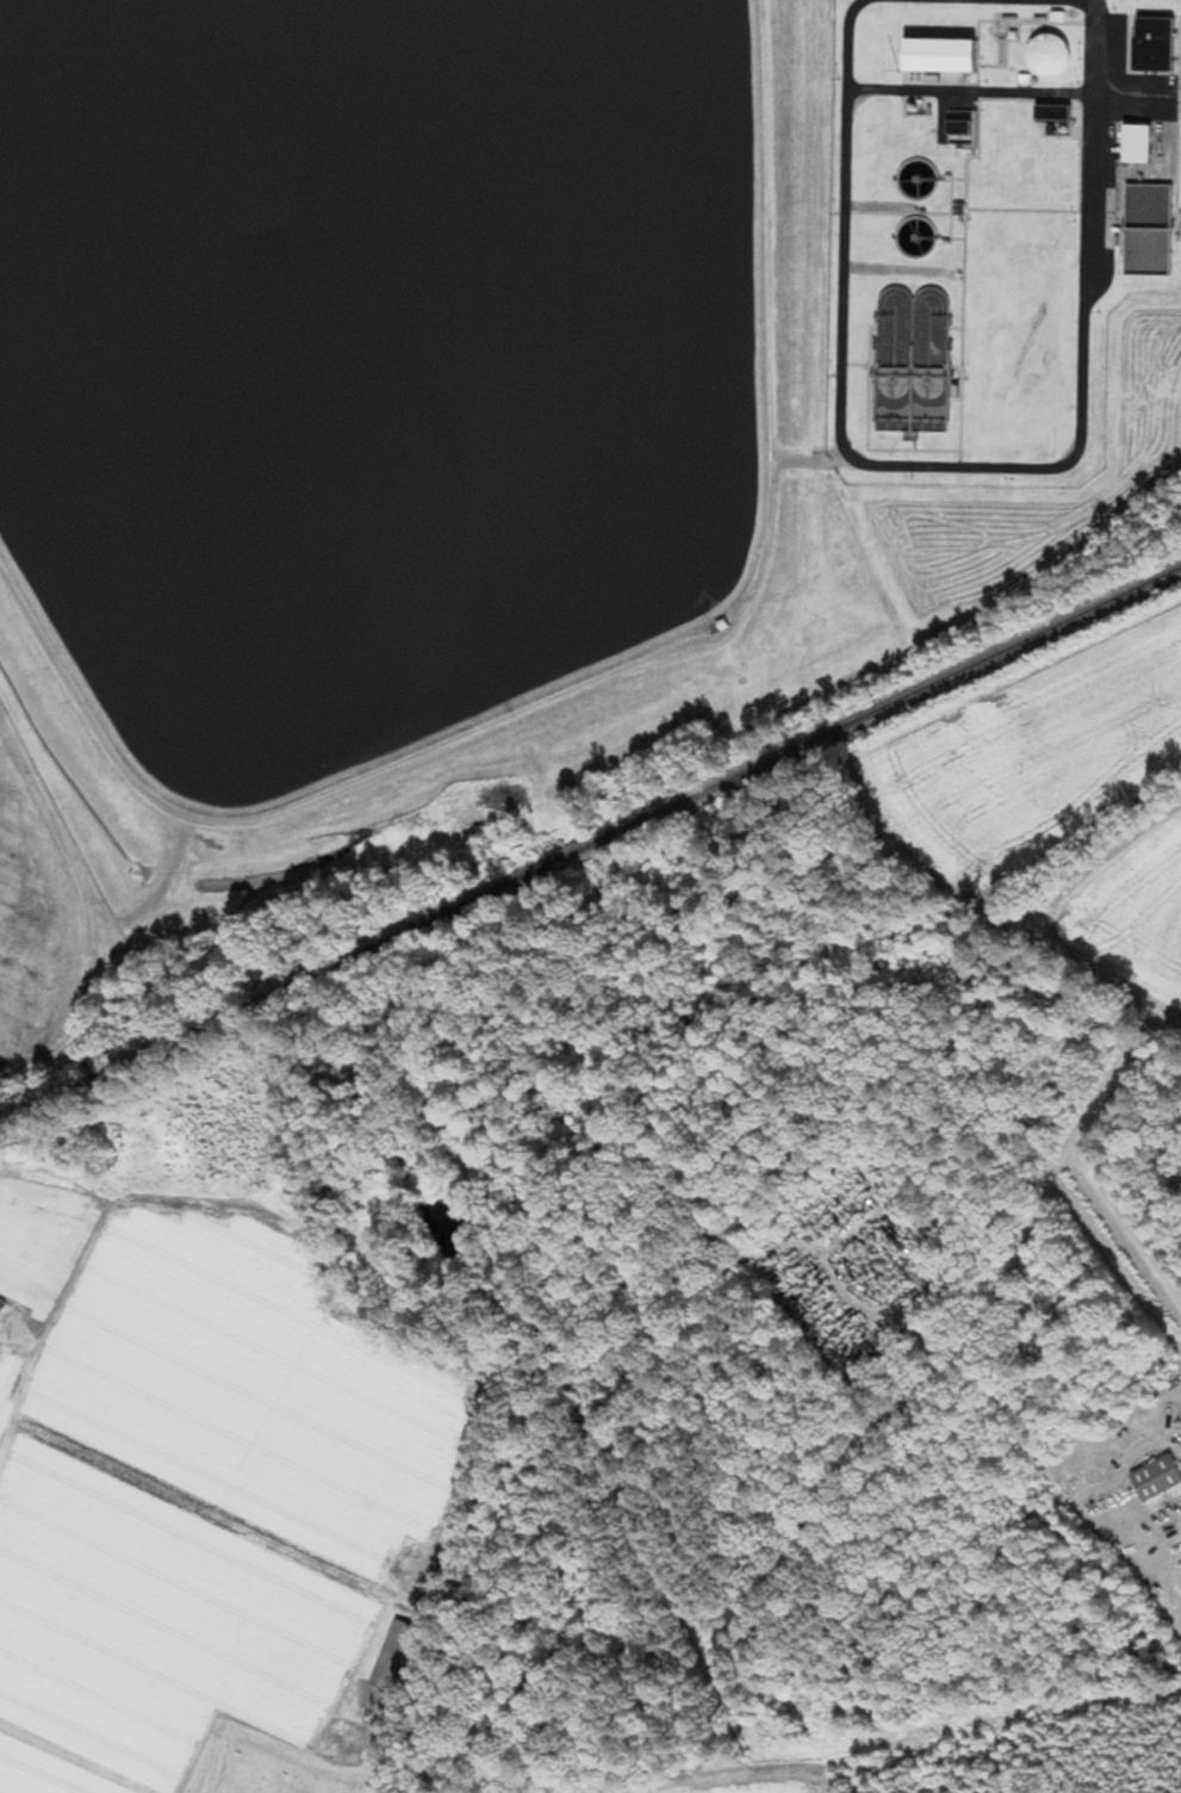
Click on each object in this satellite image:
building: (1155, 45)
building: (941, 56)
building: (1050, 56)
building: (1055, 114)
building: (964, 129)
building: (1150, 230)
building: (913, 361)
railway: (590, 844)
building: (1158, 1477)

